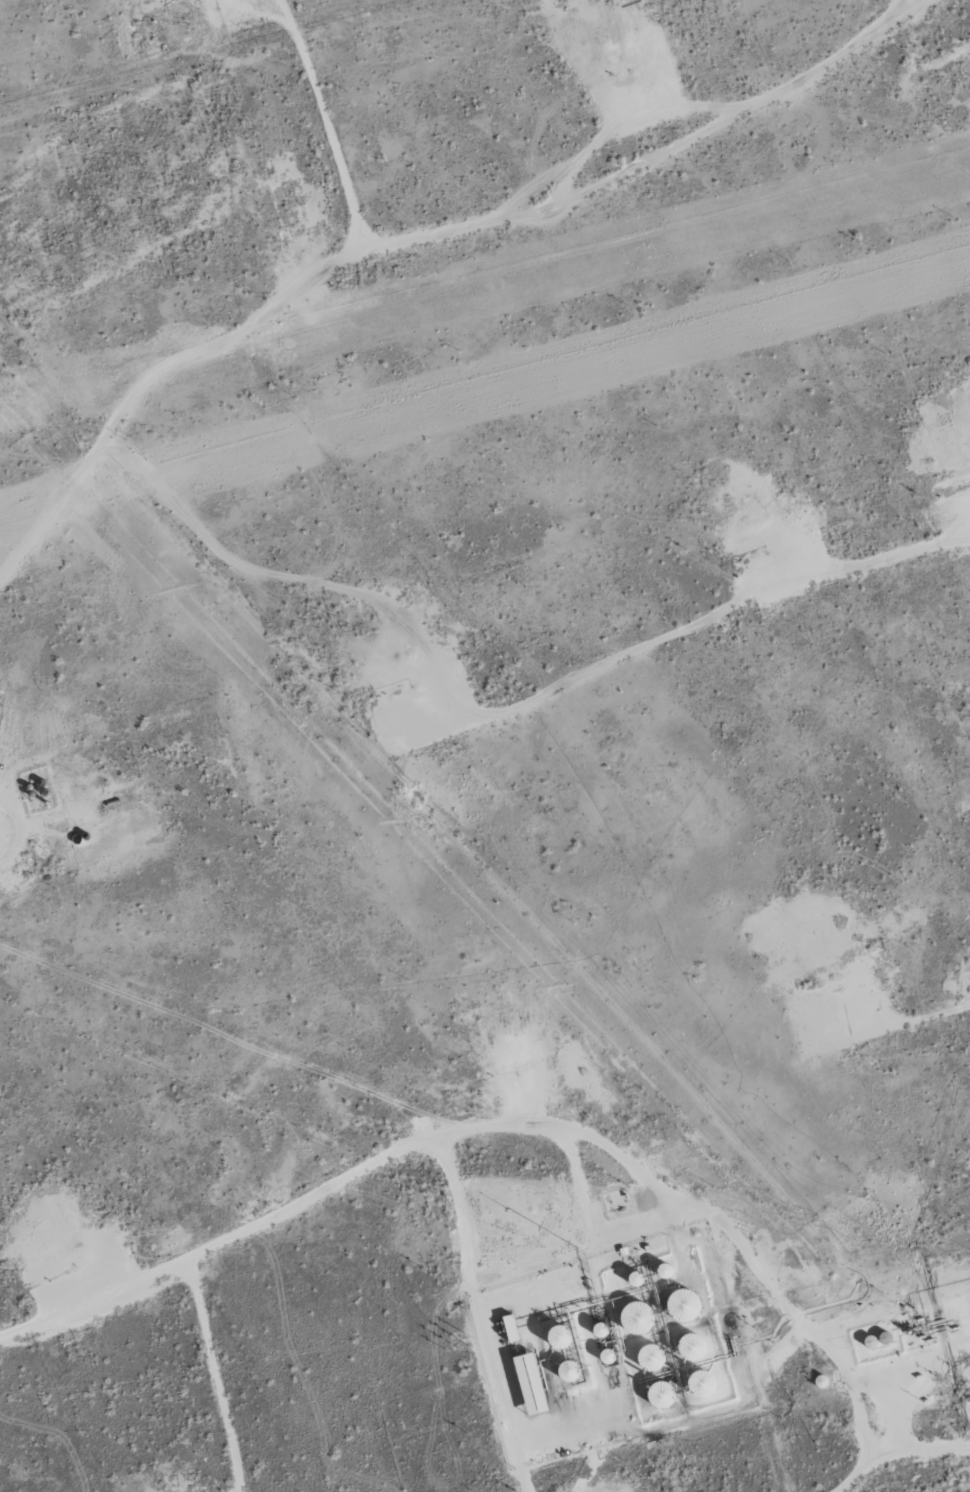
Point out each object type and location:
building: (636, 1317)
building: (529, 1383)

